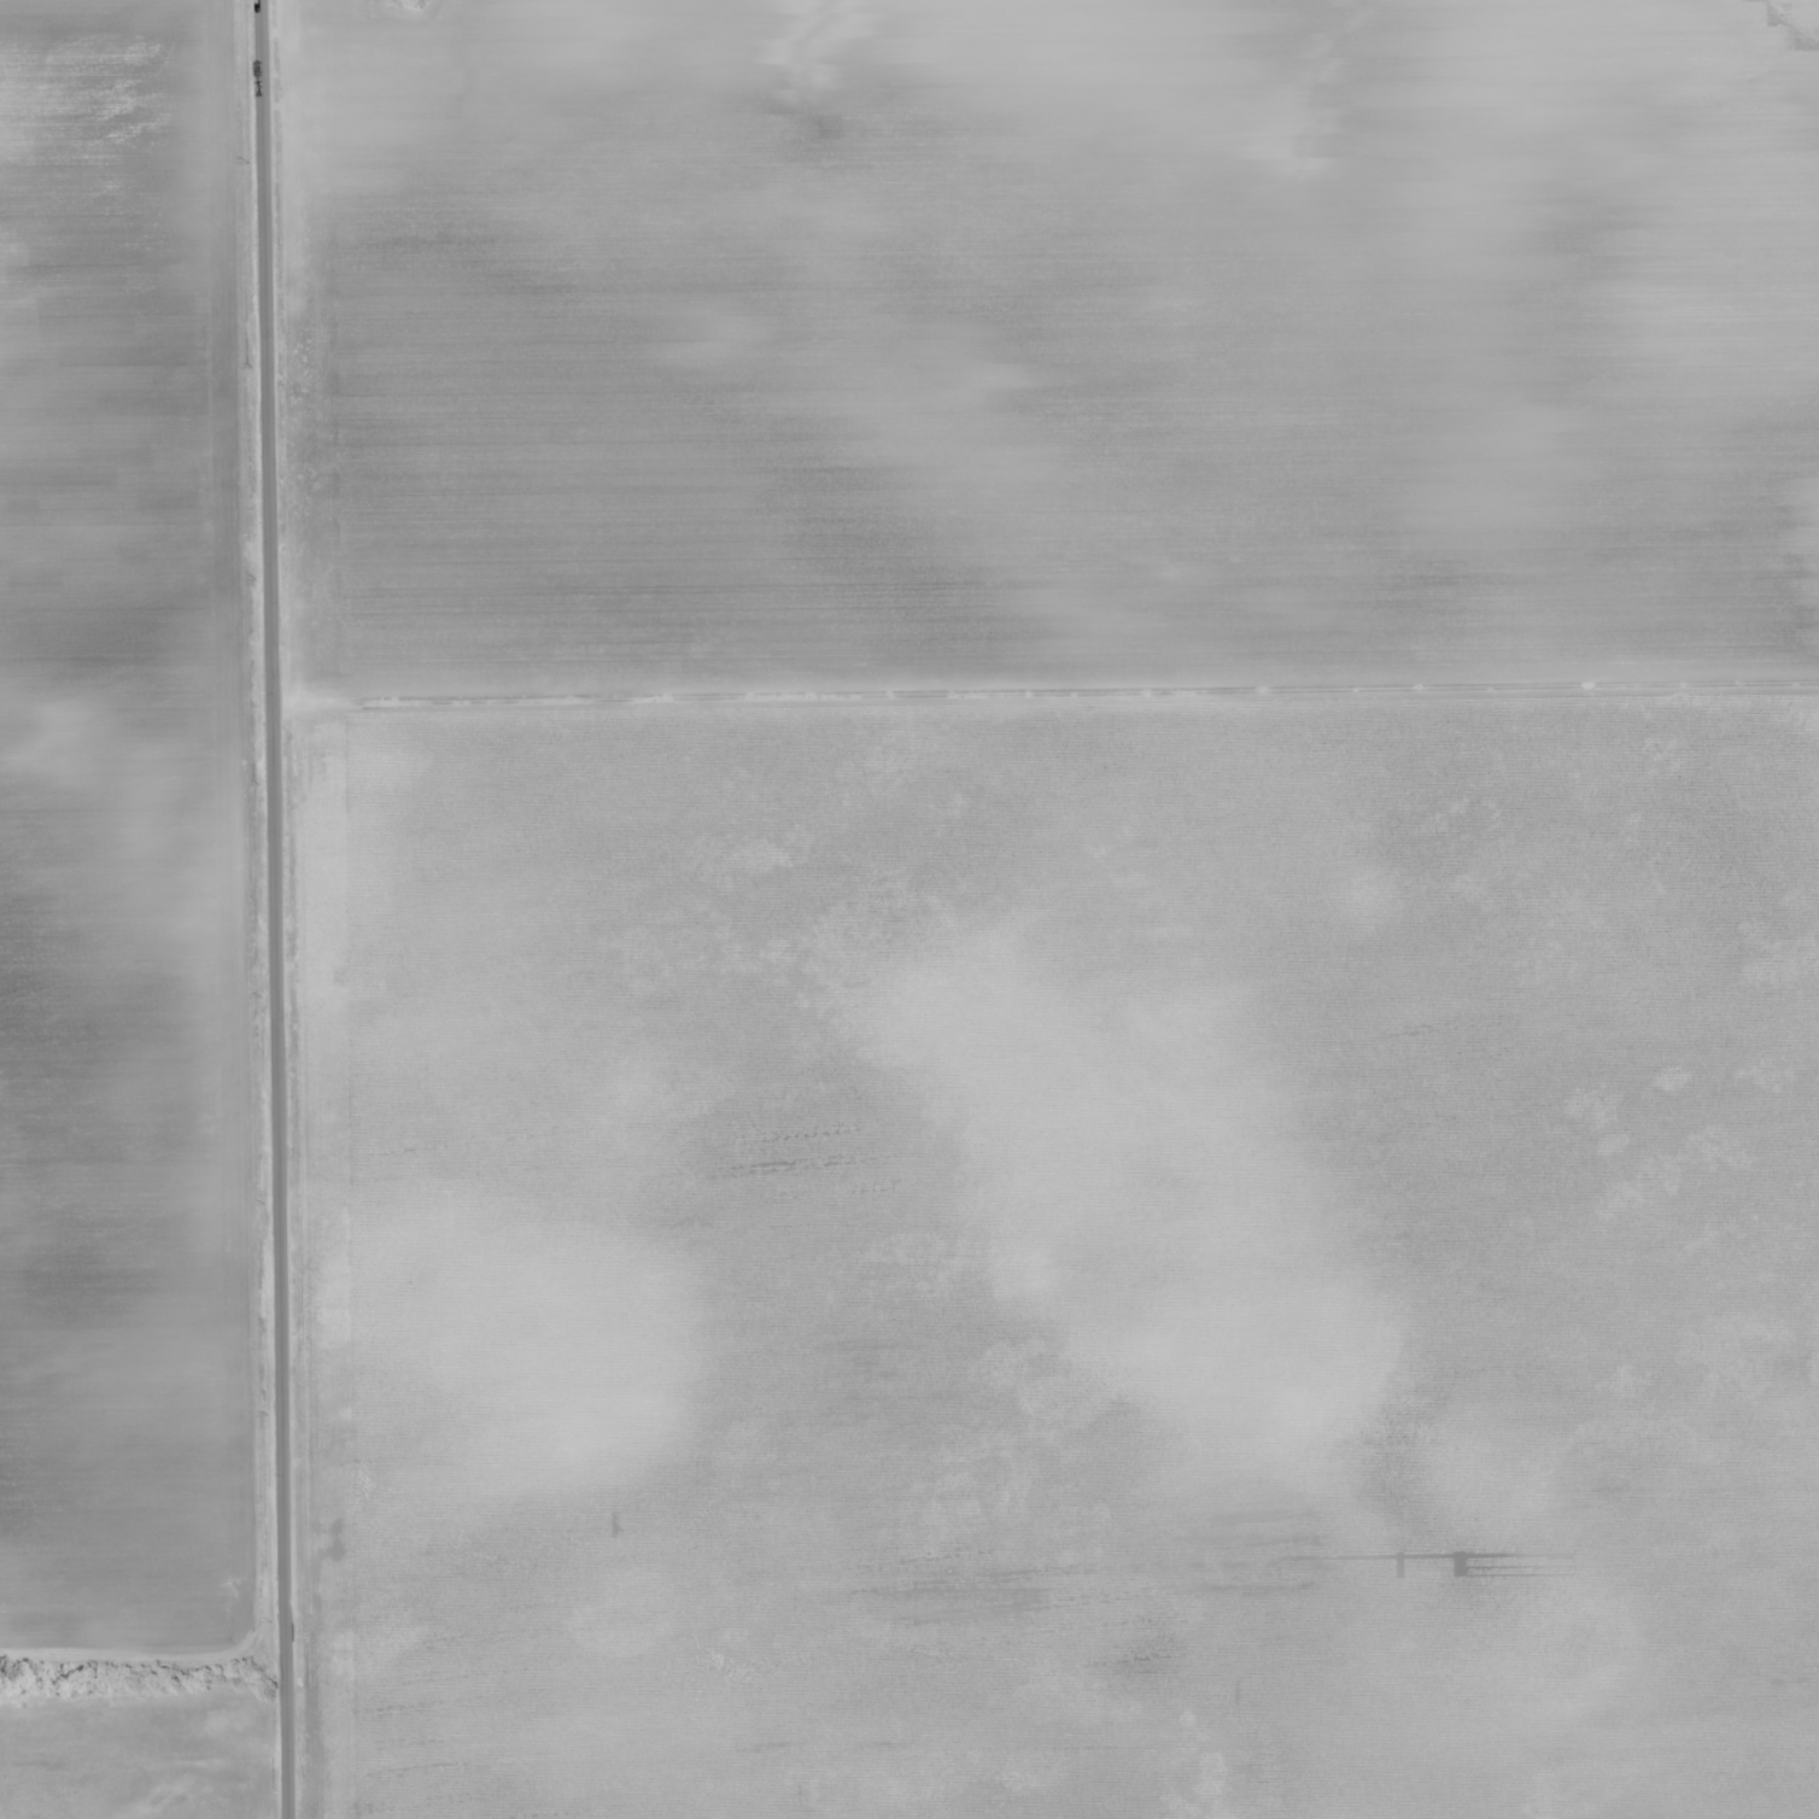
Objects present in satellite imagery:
road: (265, 352)
road: (280, 1262)

